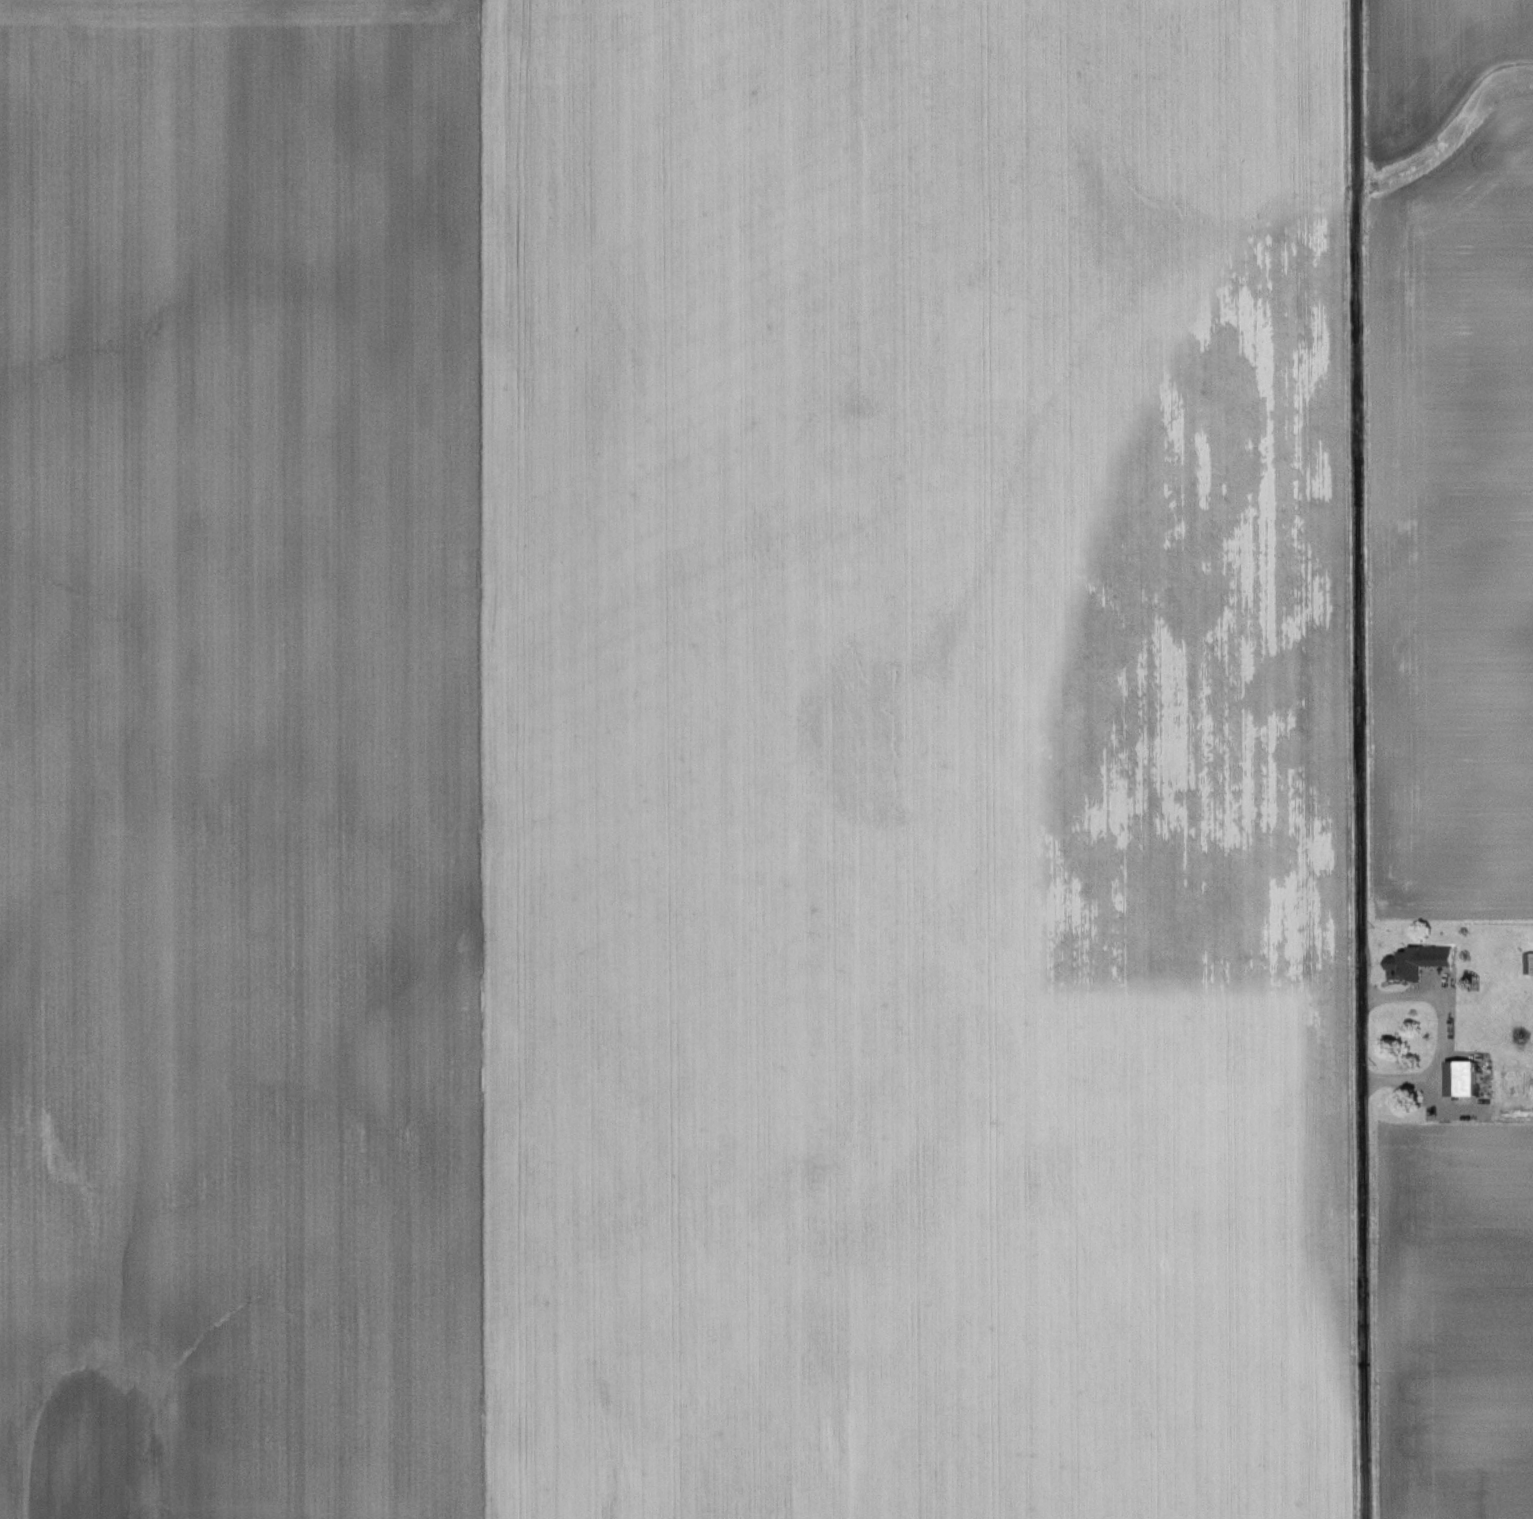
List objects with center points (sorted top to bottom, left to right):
road: (1356, 759)
building: (1527, 960)
road: (1442, 1031)
building: (1457, 1076)

